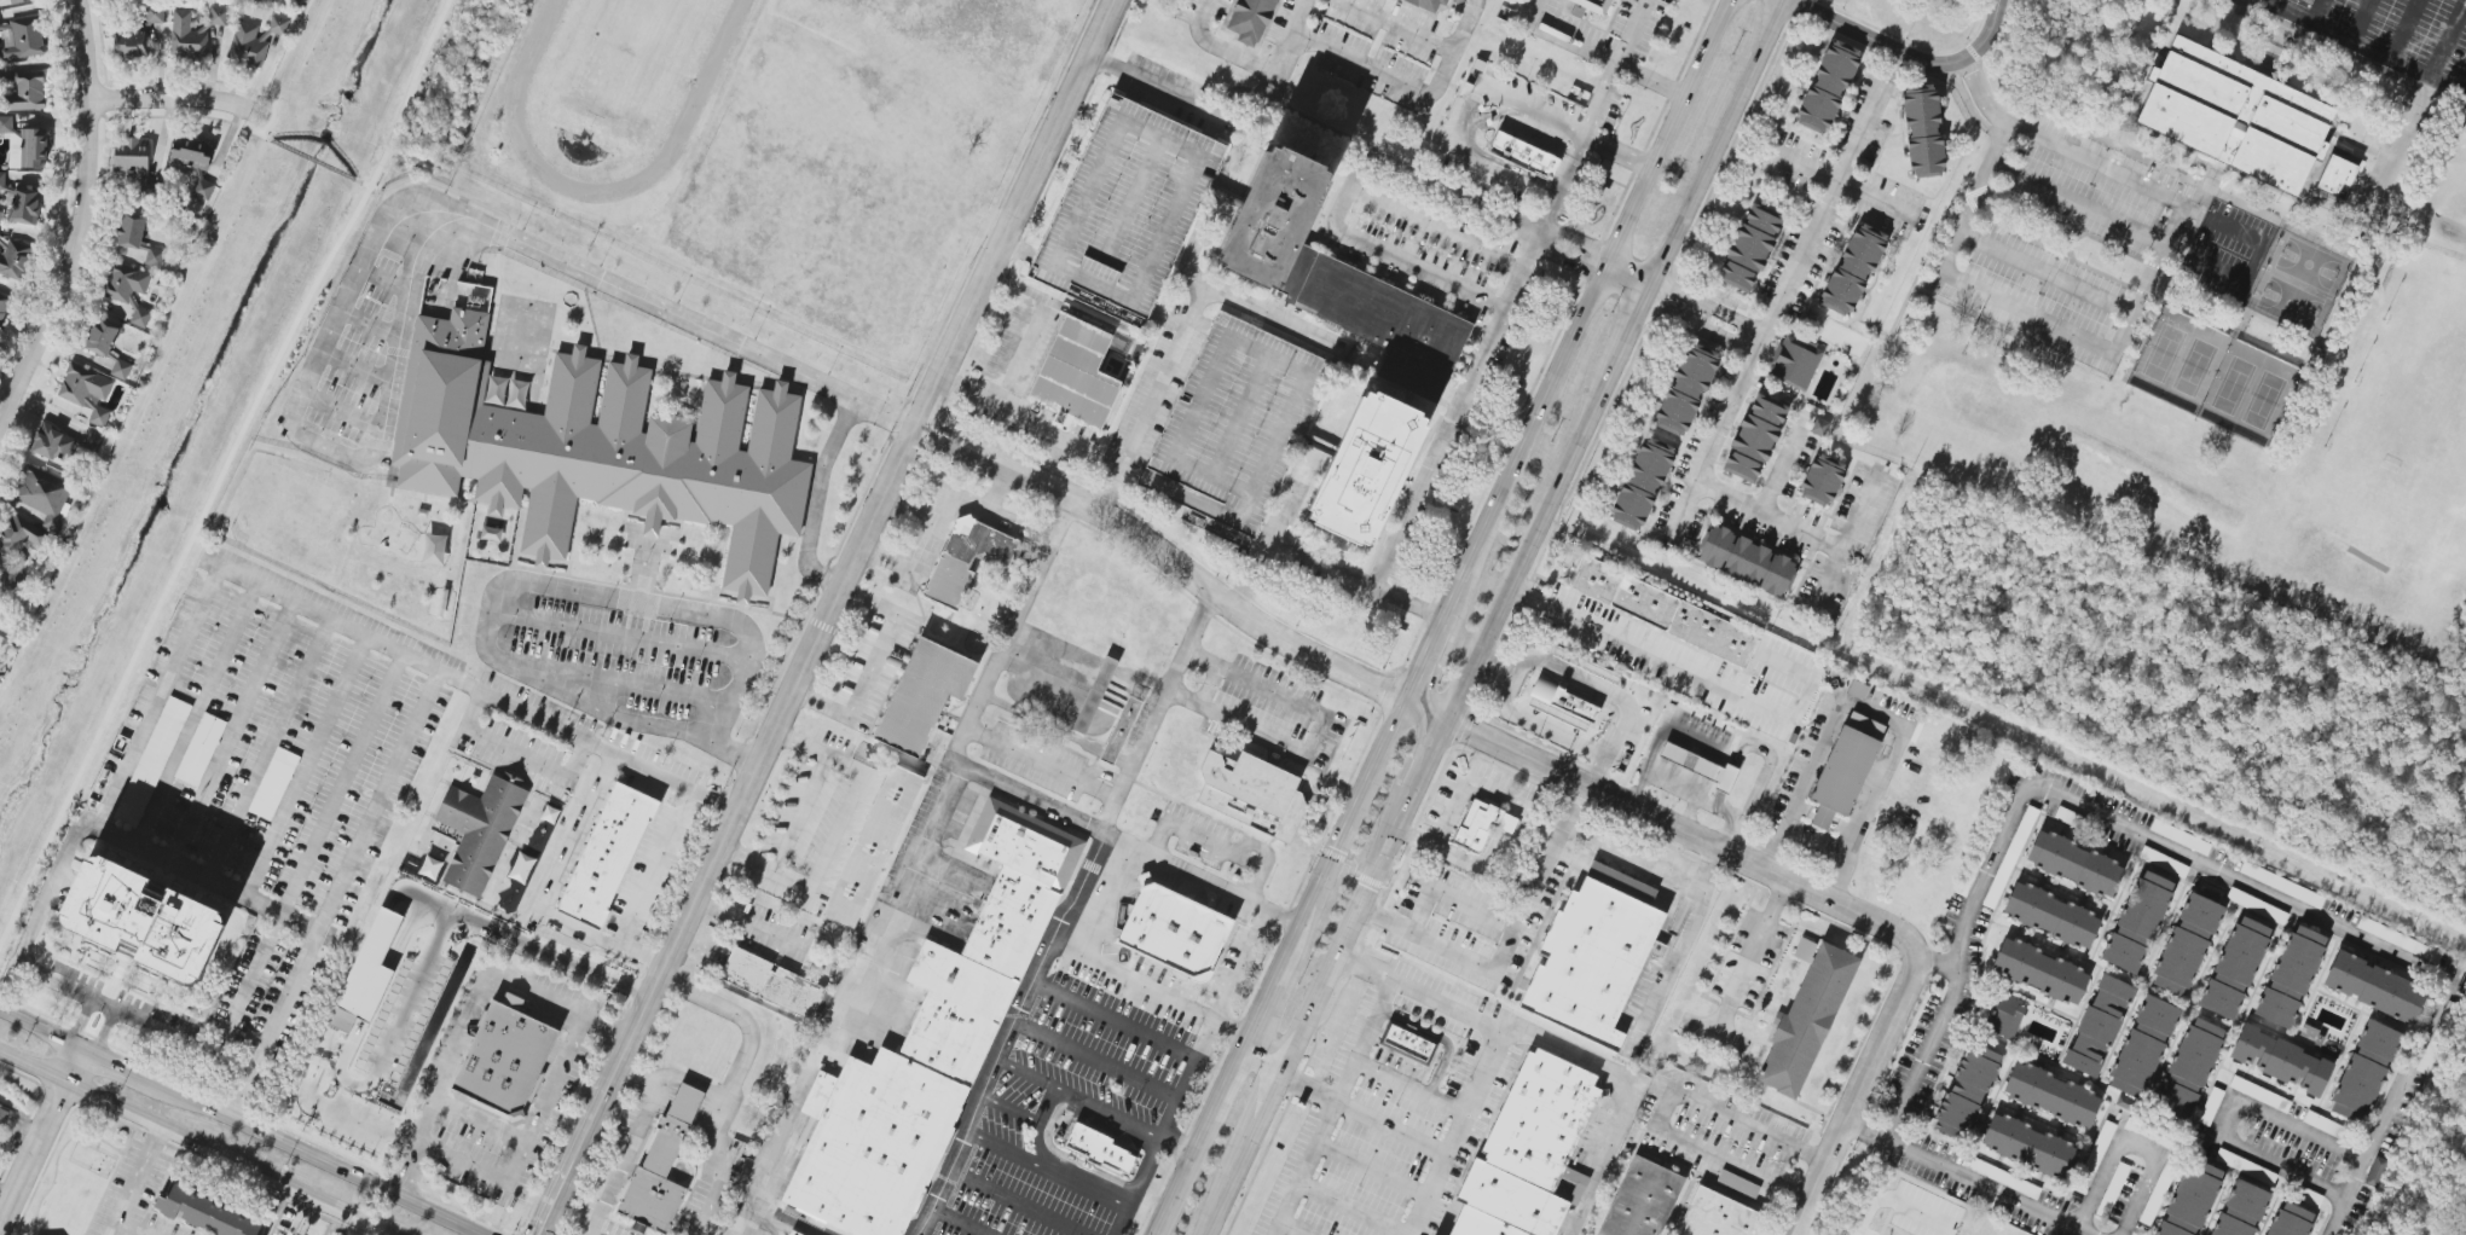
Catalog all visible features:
building: (16, 1)
building: (1429, 2)
building: (1593, 5)
road: (2319, 10)
building: (219, 16)
road: (2361, 18)
building: (1250, 21)
building: (277, 25)
road: (2404, 28)
road: (1633, 30)
park: (961, 34)
parking lot: (2392, 34)
road: (1293, 35)
road: (1564, 35)
building: (187, 36)
road: (2448, 37)
building: (22, 39)
road: (1419, 40)
building: (131, 44)
road: (1912, 44)
building: (247, 45)
road: (2371, 46)
road: (1222, 47)
road: (1904, 52)
road: (1616, 64)
road: (262, 70)
road: (1384, 71)
building: (1827, 86)
road: (1279, 89)
building: (27, 92)
road: (175, 97)
track: (693, 105)
road: (1980, 108)
road: (273, 109)
road: (1463, 112)
building: (2234, 115)
road: (2465, 117)
road: (1561, 123)
building: (6, 124)
road: (244, 128)
road: (1901, 128)
building: (1922, 131)
road: (1895, 133)
road: (1349, 144)
building: (27, 149)
road: (1575, 150)
building: (190, 155)
building: (1523, 156)
building: (133, 158)
road: (312, 160)
building: (2335, 176)
building: (1, 180)
road: (1842, 182)
road: (438, 185)
road: (1533, 187)
road: (1909, 187)
building: (202, 189)
road: (461, 199)
building: (24, 207)
building: (1127, 210)
parking garage: (1127, 210)
road: (82, 224)
road: (1435, 225)
building: (0, 226)
building: (137, 238)
parking lot: (2091, 244)
road: (1380, 245)
road: (2177, 247)
building: (1748, 248)
road: (2066, 250)
road: (451, 257)
building: (13, 260)
building: (1852, 268)
road: (1628, 277)
building: (1336, 278)
road: (384, 280)
park: (2297, 282)
building: (125, 283)
road: (1784, 291)
building: (4, 307)
road: (2124, 307)
road: (1706, 315)
road: (2027, 315)
building: (140, 317)
road: (691, 321)
road: (371, 324)
building: (102, 337)
road: (1181, 338)
parking lot: (358, 355)
road: (1017, 358)
building: (1794, 360)
building: (121, 369)
road: (357, 369)
building: (1076, 375)
park: (2210, 376)
building: (1685, 388)
building: (86, 392)
river: (190, 407)
road: (1454, 410)
road: (342, 412)
road: (1024, 418)
building: (1234, 421)
parking garage: (1234, 421)
building: (1819, 428)
building: (1754, 437)
building: (92, 441)
park: (2401, 441)
road: (313, 442)
building: (53, 443)
building: (601, 446)
road: (224, 469)
building: (1366, 469)
road: (1778, 471)
building: (1640, 480)
building: (1820, 480)
building: (44, 494)
road: (815, 501)
road: (989, 508)
road: (933, 534)
road: (1807, 538)
building: (18, 545)
road: (1164, 553)
road: (1319, 557)
building: (966, 559)
building: (1746, 561)
road: (888, 563)
road: (1829, 580)
road: (502, 584)
building: (1663, 611)
road: (1440, 616)
road: (829, 617)
road: (1495, 617)
road: (618, 637)
road: (1648, 651)
road: (1500, 663)
road: (1529, 665)
road: (873, 667)
road: (1434, 669)
building: (1596, 669)
road: (619, 688)
building: (1857, 689)
road: (477, 690)
building: (922, 695)
building: (1099, 697)
road: (156, 698)
building: (1562, 706)
road: (1871, 711)
road: (192, 717)
building: (1121, 731)
road: (1315, 734)
road: (232, 735)
road: (1414, 747)
building: (199, 749)
road: (267, 750)
road: (519, 754)
road: (1027, 758)
building: (152, 761)
building: (1700, 766)
building: (1845, 767)
road: (305, 769)
parking lot: (272, 771)
road: (1602, 771)
building: (273, 784)
road: (1464, 790)
building: (1251, 794)
road: (1629, 804)
road: (800, 813)
road: (1107, 817)
building: (1476, 827)
road: (837, 829)
building: (479, 831)
building: (2181, 837)
building: (2016, 842)
building: (872, 846)
road: (1118, 846)
road: (1222, 848)
road: (1197, 851)
road: (307, 856)
building: (606, 856)
road: (1248, 857)
road: (1489, 859)
building: (2073, 863)
building: (521, 868)
road: (653, 868)
road: (1680, 874)
road: (204, 881)
building: (2281, 885)
road: (1981, 887)
road: (549, 895)
road: (1451, 895)
road: (334, 897)
building: (2050, 915)
building: (141, 920)
building: (2136, 922)
road: (748, 923)
building: (1174, 930)
building: (2187, 943)
road: (1506, 944)
road: (2366, 945)
building: (1594, 946)
road: (1752, 951)
road: (435, 952)
road: (1673, 959)
road: (1239, 964)
building: (2234, 968)
building: (2039, 970)
building: (2291, 976)
building: (772, 984)
building: (2374, 986)
road: (63, 988)
road: (1148, 988)
road: (843, 997)
road: (467, 1015)
building: (1806, 1016)
building: (2005, 1016)
road: (1112, 1019)
road: (741, 1021)
road: (80, 1024)
building: (2097, 1026)
road: (100, 1034)
road: (1005, 1036)
building: (936, 1037)
road: (1883, 1037)
building: (1403, 1044)
building: (2143, 1046)
road: (1494, 1049)
parking lot: (1096, 1054)
road: (1924, 1054)
road: (1263, 1057)
building: (503, 1059)
road: (1093, 1060)
building: (2280, 1060)
building: (2189, 1069)
building: (2364, 1071)
road: (1183, 1077)
road: (1409, 1088)
building: (1966, 1091)
road: (1632, 1095)
building: (2050, 1095)
road: (1075, 1098)
road: (1333, 1107)
road: (1365, 1107)
road: (1009, 1109)
road: (1666, 1109)
building: (4, 1114)
road: (717, 1117)
building: (1541, 1118)
road: (2225, 1120)
road: (235, 1123)
road: (479, 1124)
road: (1041, 1126)
building: (2148, 1131)
road: (39, 1136)
road: (191, 1143)
road: (1176, 1143)
road: (521, 1146)
building: (2027, 1146)
road: (1002, 1147)
road: (2131, 1149)
building: (1100, 1150)
parking lot: (1351, 1150)
road: (623, 1155)
building: (662, 1162)
road: (1372, 1169)
road: (1145, 1171)
building: (2375, 1175)
road: (1963, 1178)
road: (132, 1181)
building: (1738, 1183)
road: (1086, 1185)
building: (1511, 1199)
building: (1642, 1200)
building: (2190, 1200)
road: (1894, 1201)
road: (1012, 1202)
road: (1355, 1206)
building: (2240, 1210)
building: (204, 1213)
building: (1715, 1216)
road: (957, 1219)
road: (1124, 1220)
building: (2290, 1220)
building: (1481, 1224)
road: (1823, 1225)
road: (133, 1227)
road: (1293, 1229)
building: (793, 1234)

